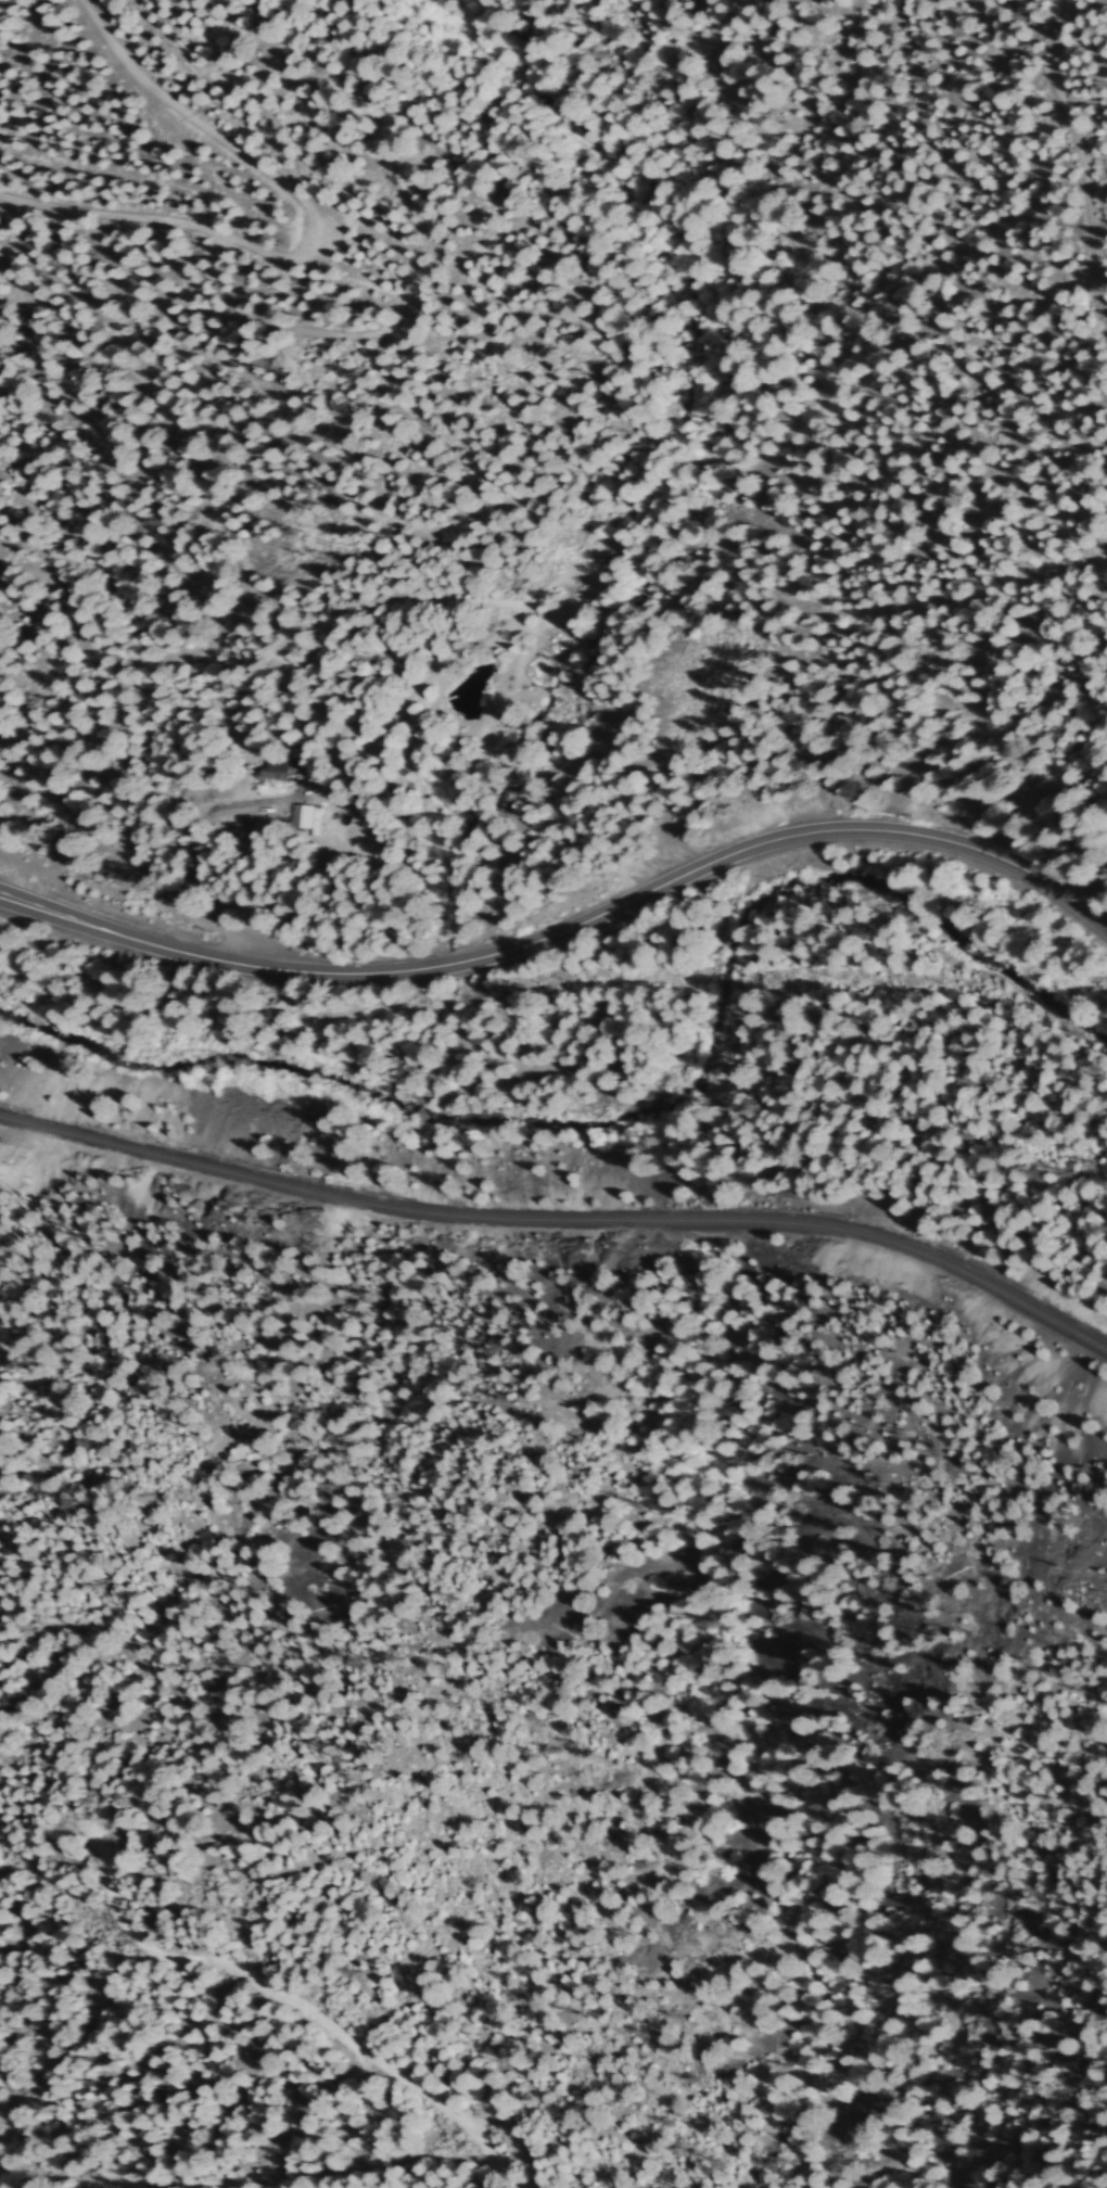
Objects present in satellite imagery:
road: (360, 767)
road: (525, 901)
road: (567, 936)
railway: (562, 1219)

